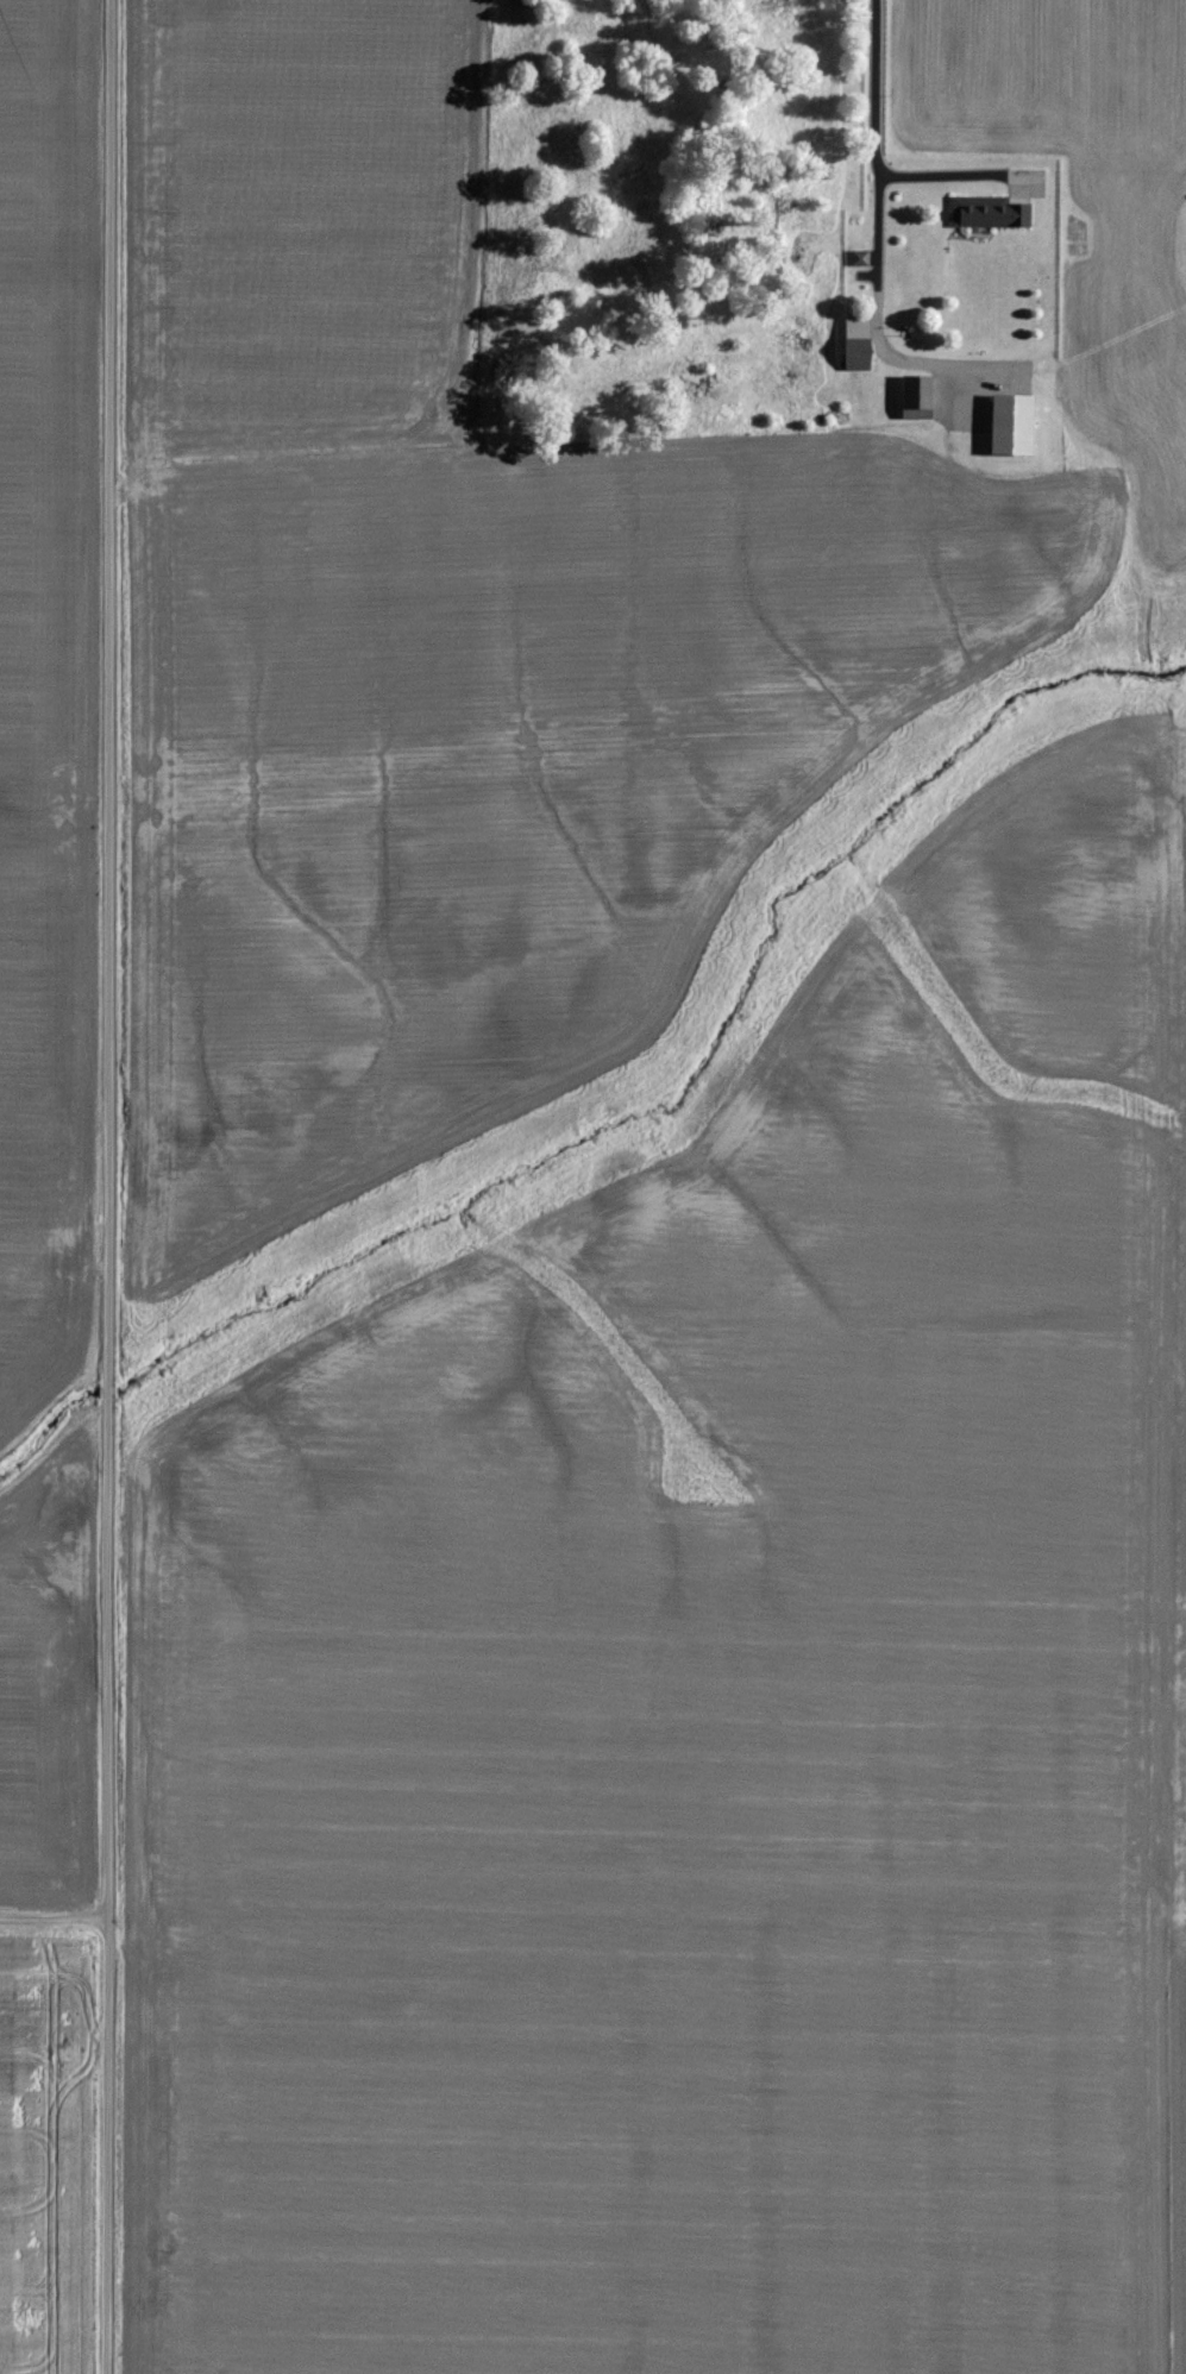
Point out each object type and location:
road: (871, 130)
building: (991, 212)
building: (920, 395)
building: (1017, 423)
road: (90, 1187)
road: (52, 1918)

